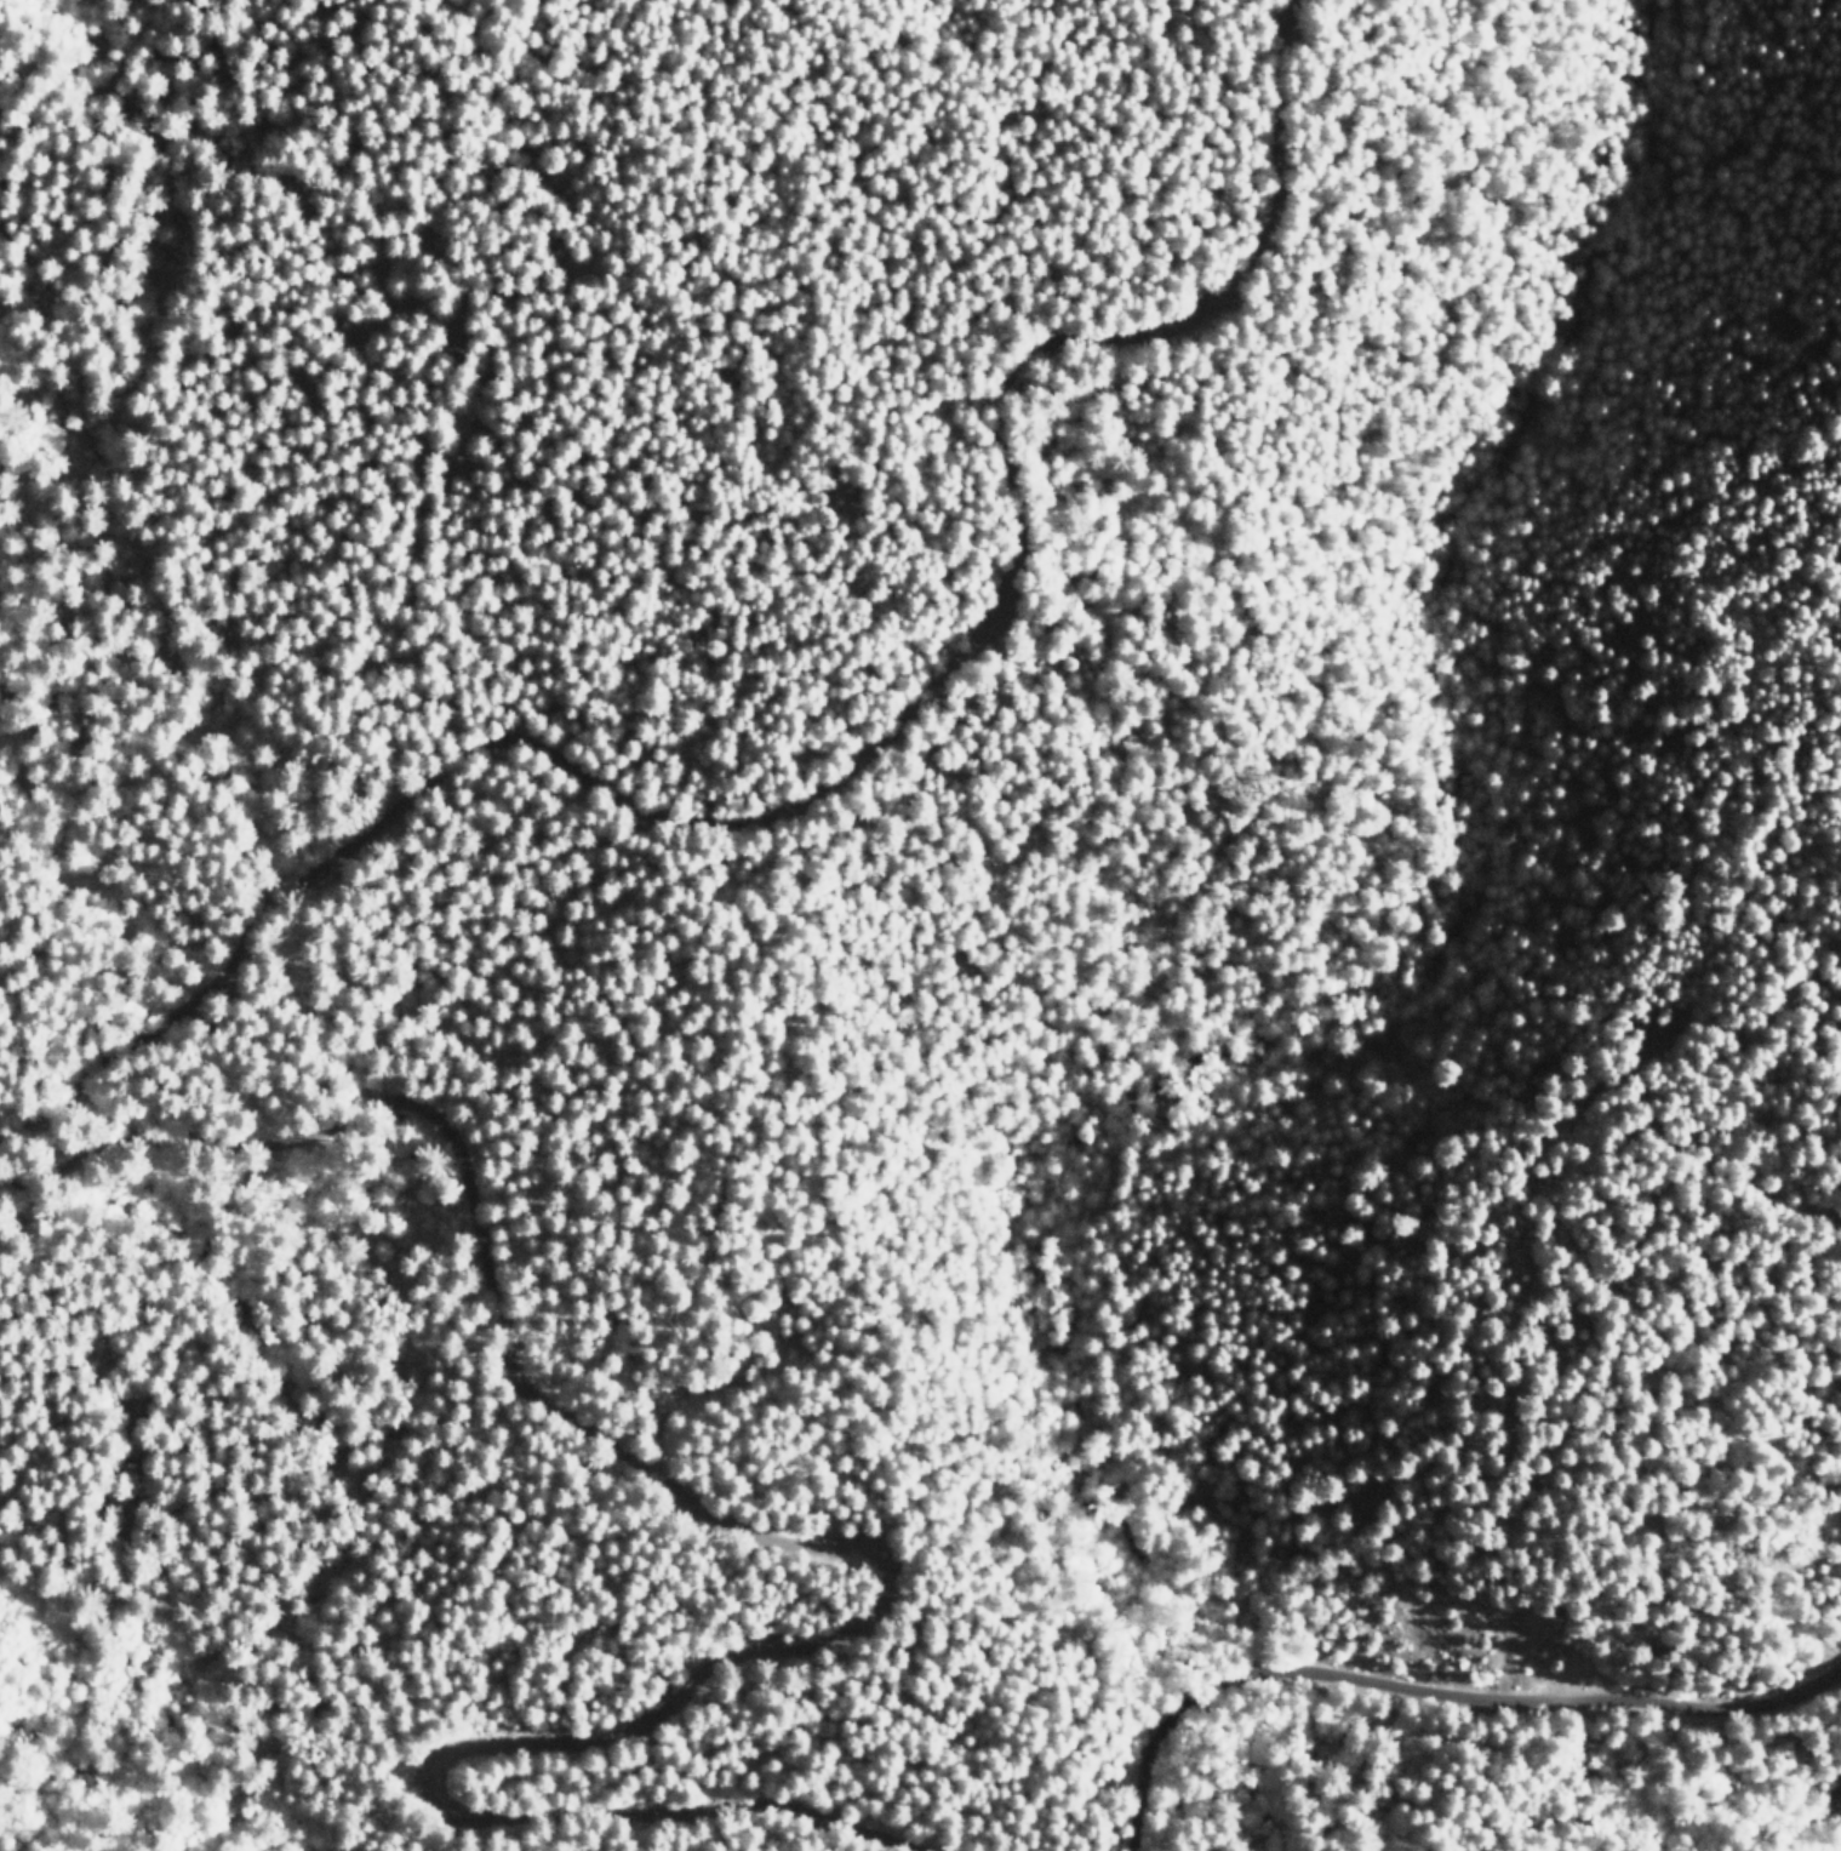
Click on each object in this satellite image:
road: (828, 760)
road: (1757, 1206)
road: (808, 1548)
road: (1436, 1695)

